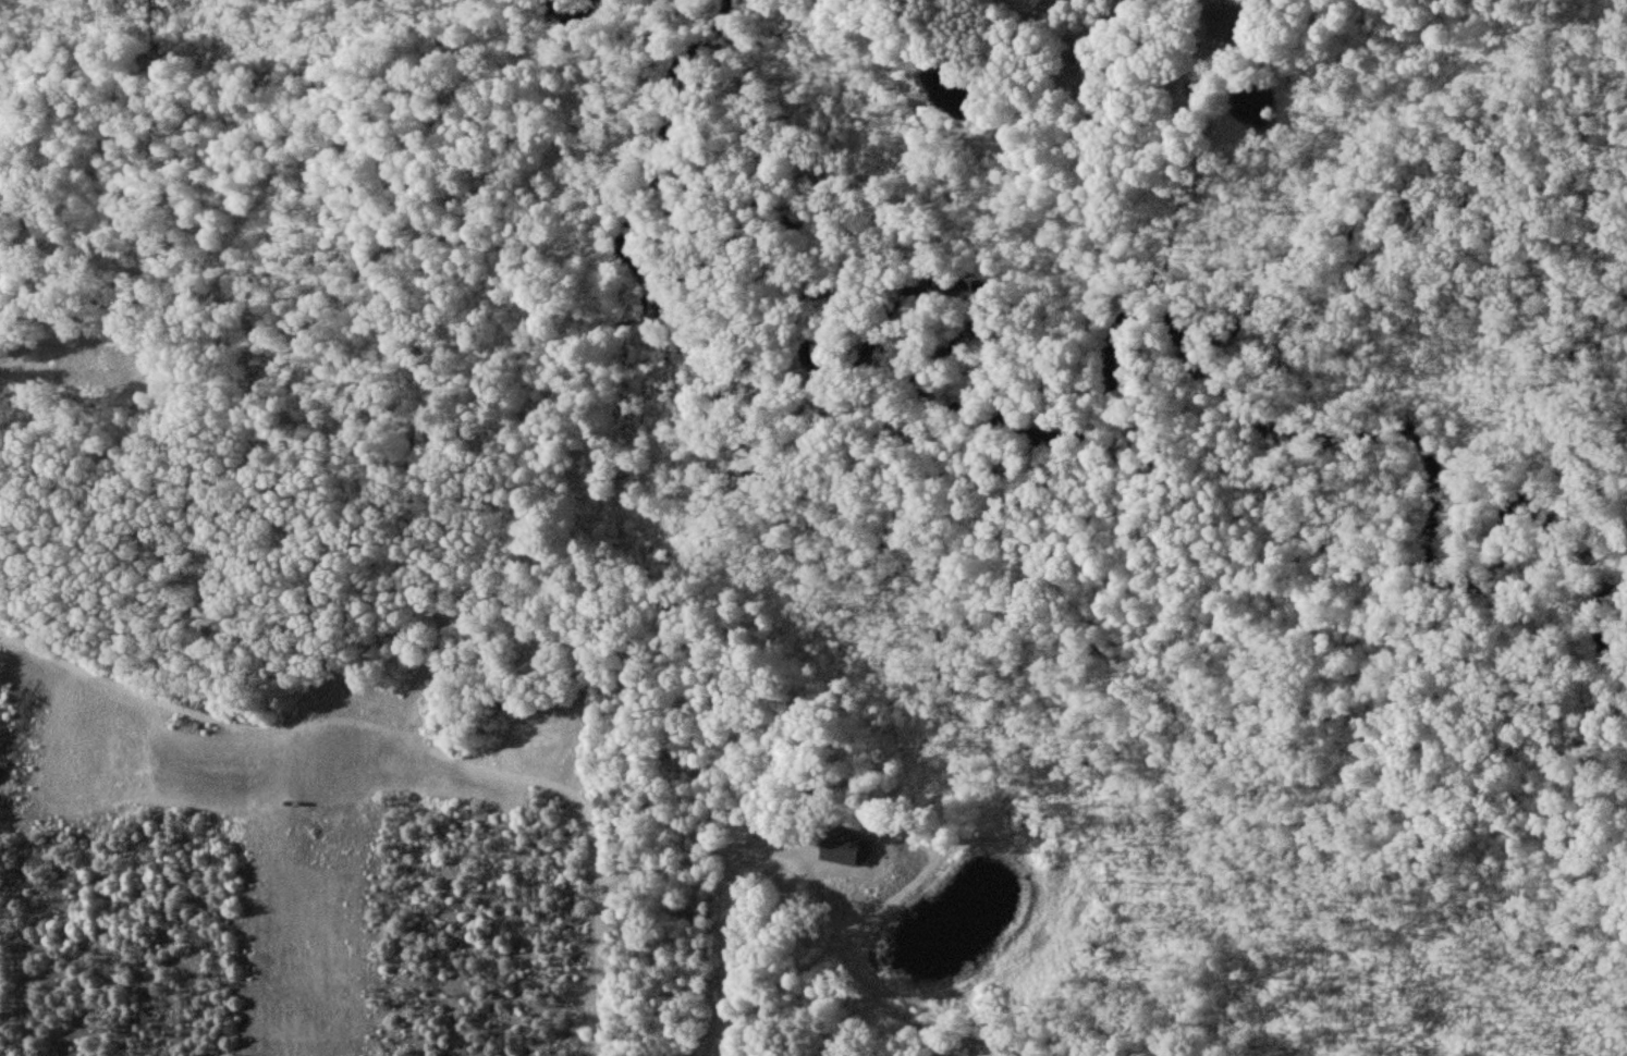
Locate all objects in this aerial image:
building: (1061, 0)
building: (1220, 19)
building: (846, 848)

